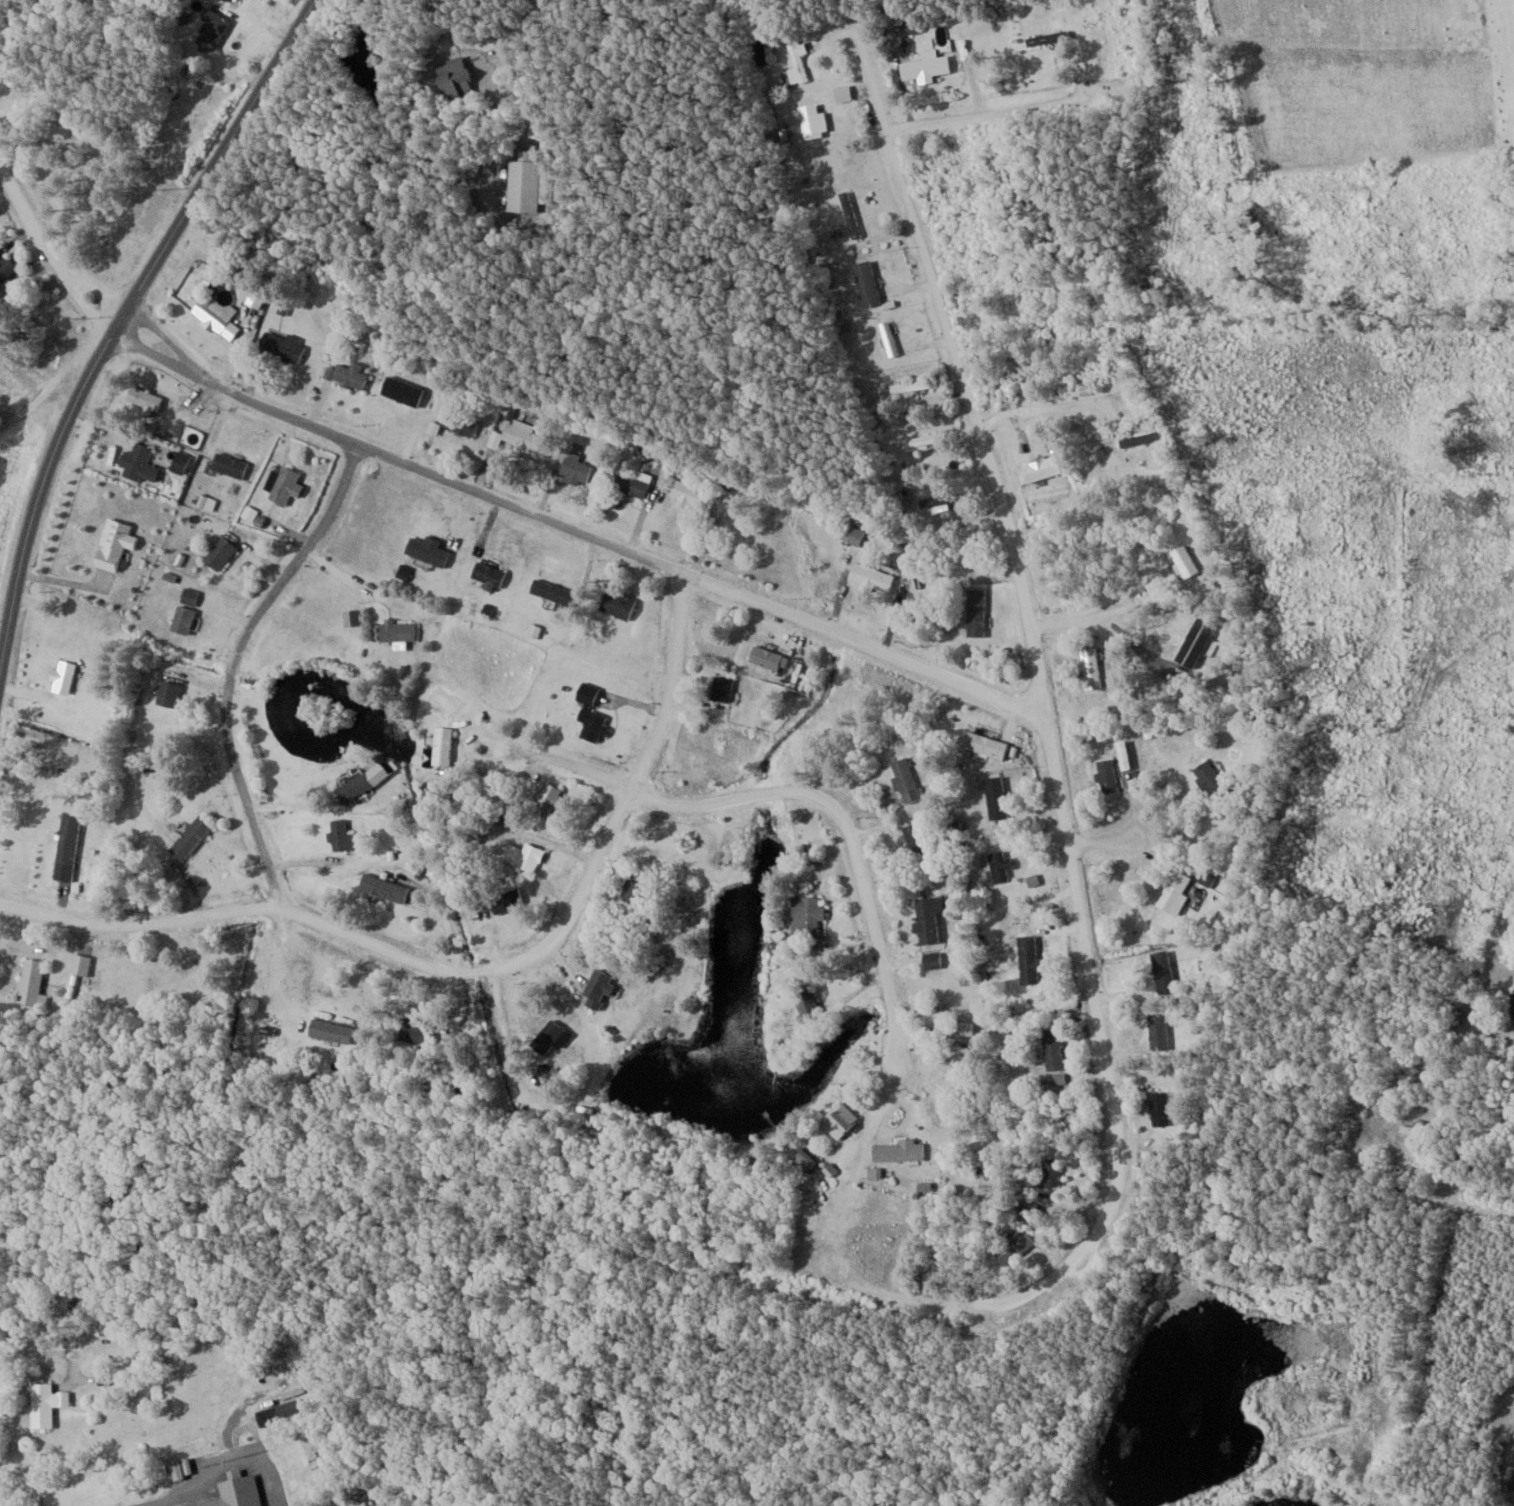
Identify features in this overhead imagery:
building: (219, 1)
building: (209, 30)
building: (1047, 37)
building: (795, 64)
building: (924, 66)
building: (450, 78)
road: (1013, 107)
road: (412, 173)
building: (522, 183)
building: (848, 215)
road: (484, 229)
road: (50, 256)
building: (4, 268)
building: (871, 281)
building: (206, 314)
road: (121, 318)
building: (888, 338)
building: (281, 345)
building: (343, 375)
building: (910, 386)
building: (399, 391)
building: (142, 398)
road: (43, 402)
road: (1061, 405)
building: (457, 422)
building: (517, 435)
building: (1140, 438)
building: (923, 439)
building: (138, 462)
building: (178, 463)
building: (227, 466)
building: (573, 468)
building: (1040, 468)
building: (629, 484)
building: (281, 486)
building: (689, 494)
road: (575, 530)
building: (856, 536)
building: (112, 542)
building: (426, 550)
building: (217, 553)
building: (1182, 560)
building: (487, 574)
building: (871, 577)
building: (551, 592)
building: (616, 604)
building: (975, 612)
building: (181, 618)
road: (1075, 622)
building: (395, 632)
building: (767, 659)
building: (1090, 666)
road: (233, 668)
building: (62, 675)
building: (720, 689)
building: (167, 692)
road: (1040, 696)
building: (589, 712)
building: (441, 744)
building: (984, 744)
road: (563, 769)
building: (1105, 775)
building: (903, 778)
building: (1207, 778)
building: (354, 785)
building: (994, 796)
building: (545, 798)
road: (314, 806)
road: (850, 831)
building: (339, 834)
building: (188, 837)
building: (913, 838)
building: (67, 839)
road: (1106, 842)
building: (527, 856)
building: (997, 865)
building: (381, 887)
building: (1173, 890)
building: (504, 899)
building: (806, 914)
building: (926, 917)
building: (1027, 958)
building: (931, 959)
building: (79, 964)
building: (1161, 970)
road: (471, 974)
building: (30, 982)
building: (595, 986)
road: (1511, 997)
building: (806, 1003)
building: (1513, 1007)
building: (329, 1028)
building: (962, 1028)
building: (412, 1029)
building: (1052, 1047)
building: (957, 1061)
building: (1158, 1108)
building: (839, 1119)
building: (1357, 1120)
building: (1413, 1127)
building: (897, 1149)
road: (1347, 1153)
building: (1048, 1166)
building: (1012, 1247)
building: (44, 1403)
building: (266, 1416)
road: (216, 1469)
building: (236, 1491)

